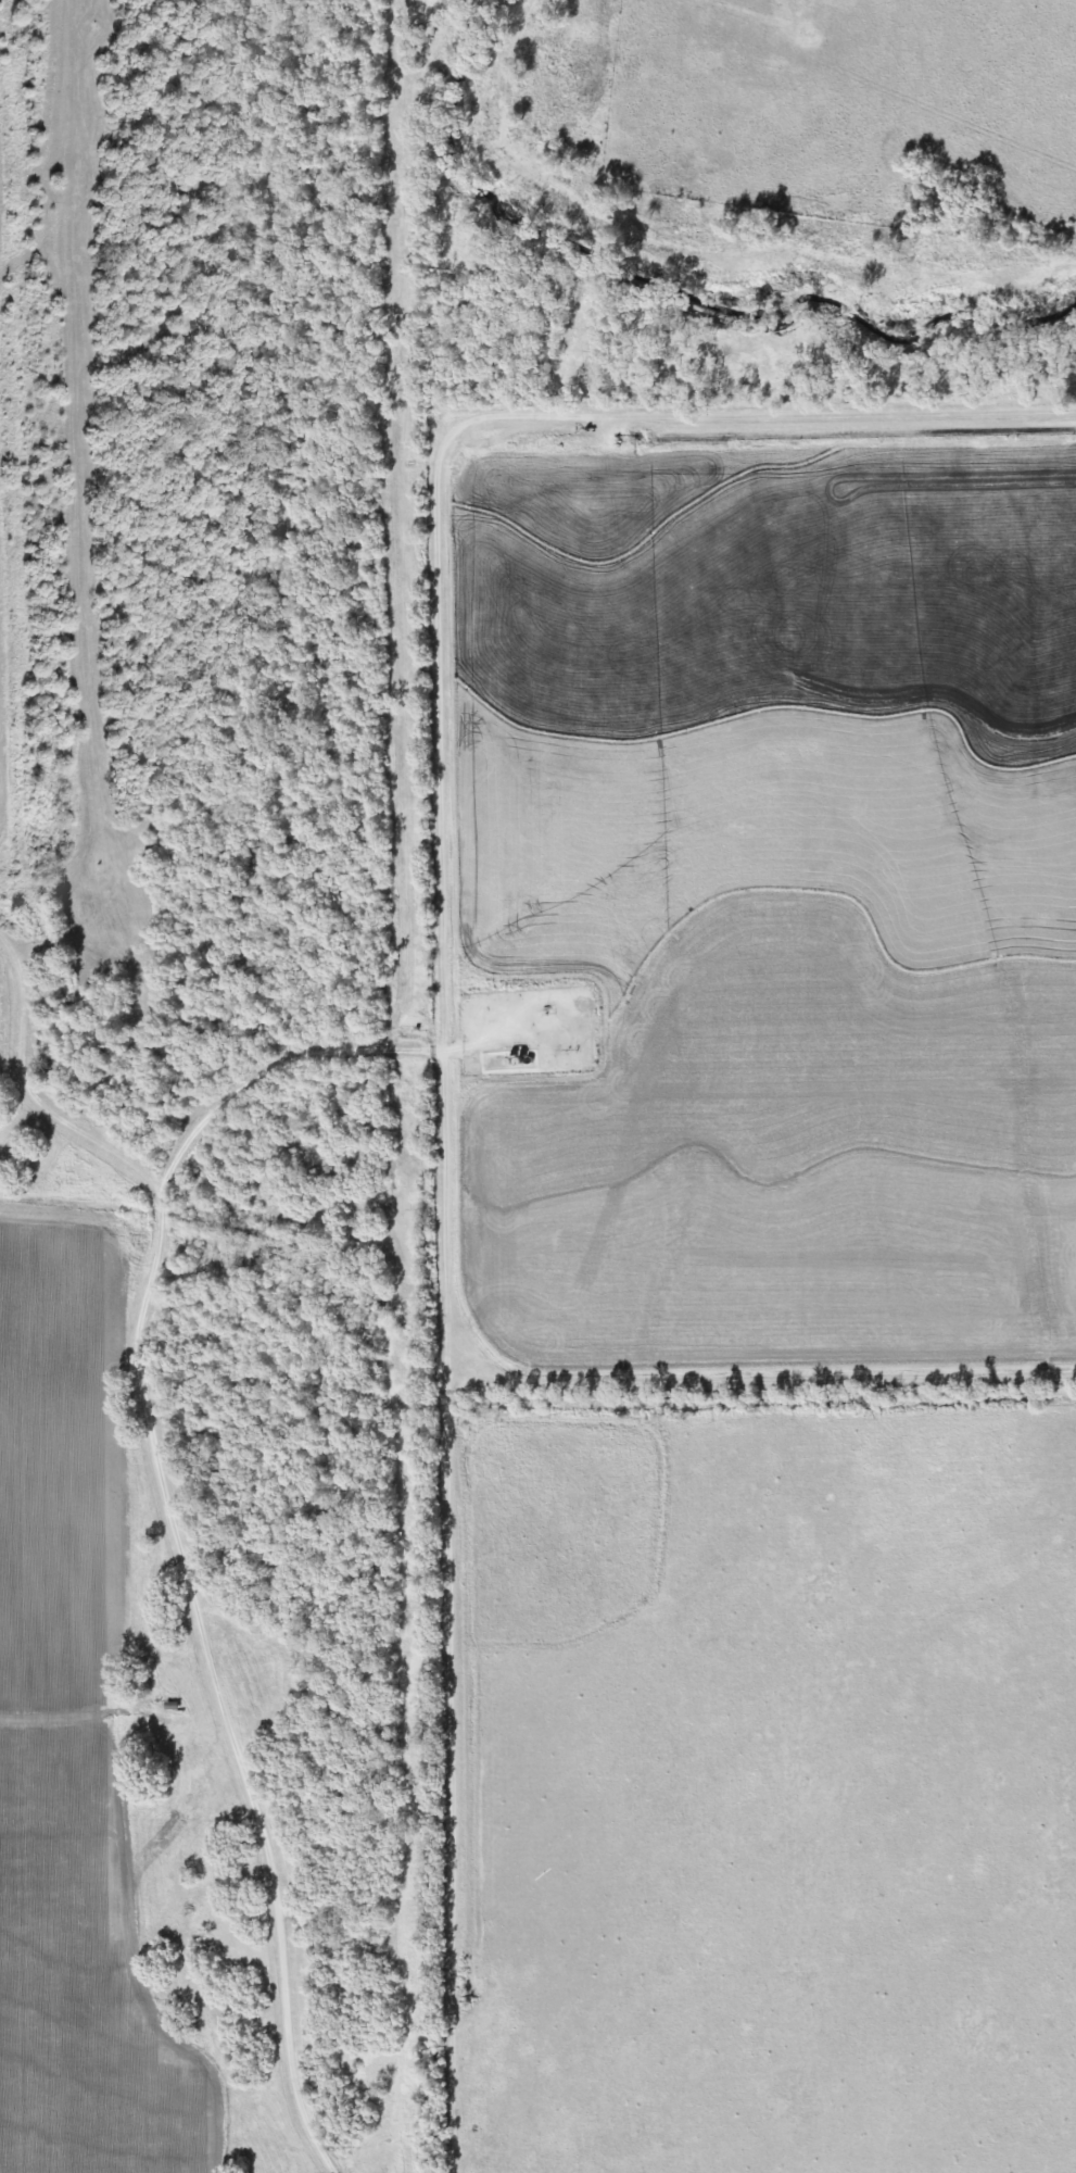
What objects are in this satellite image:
road: (165, 1508)
road: (447, 1602)

